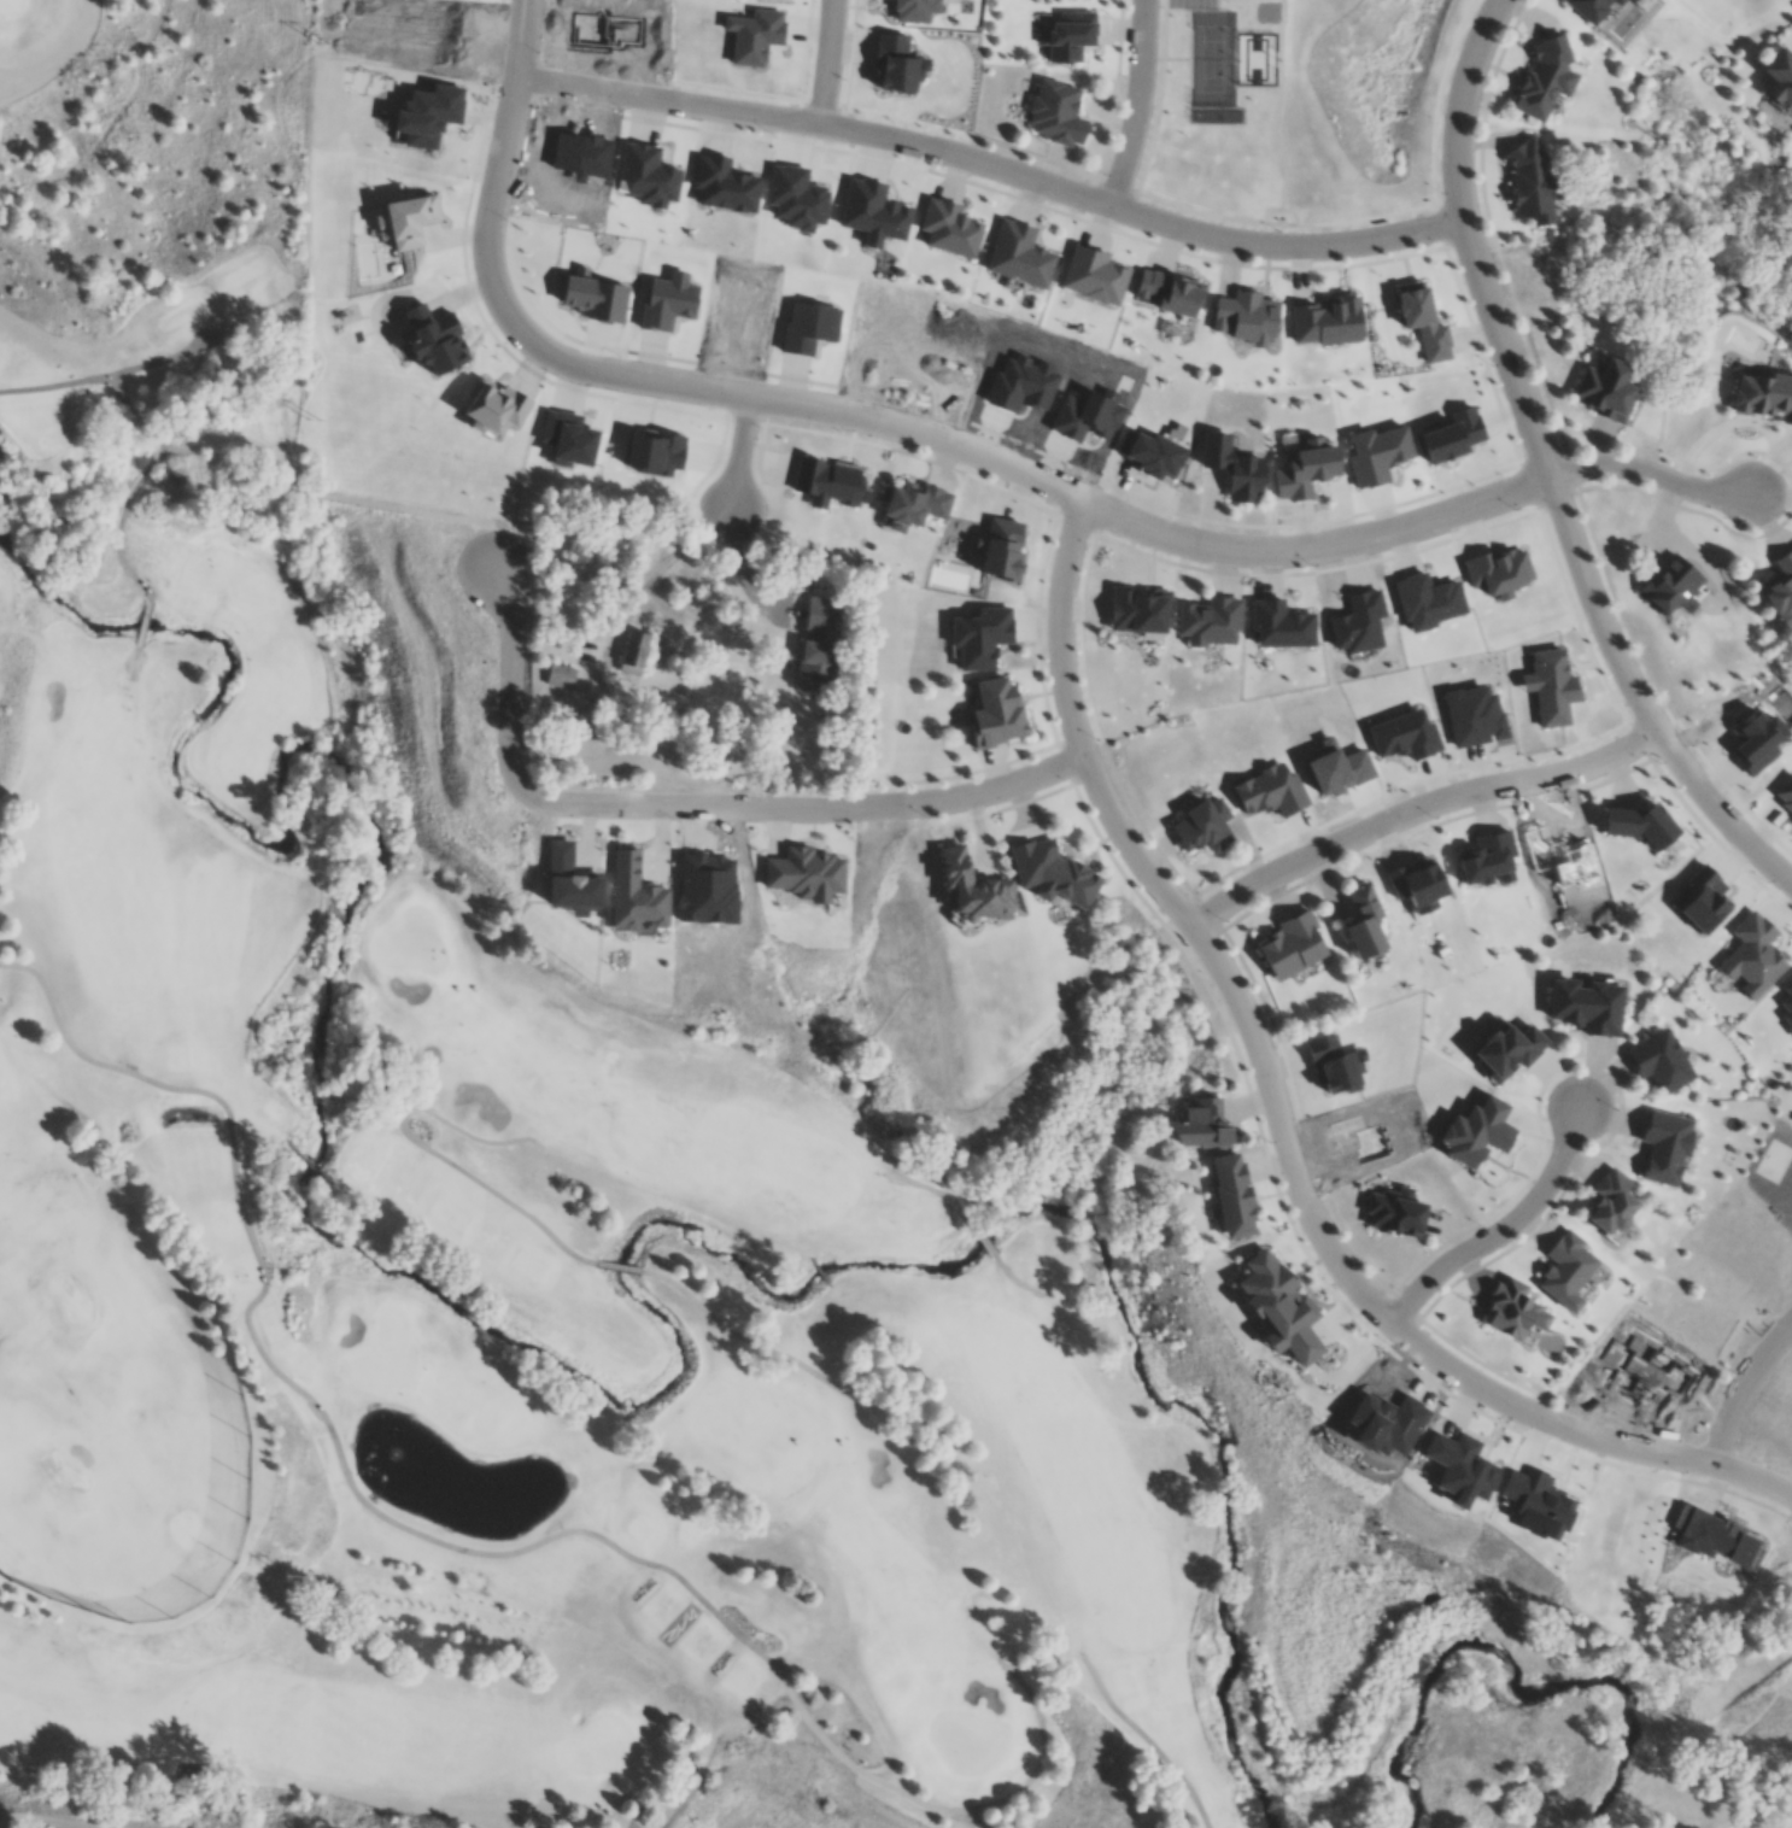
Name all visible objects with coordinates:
building: (1617, 1)
park: (10, 7)
building: (1588, 7)
building: (915, 11)
building: (602, 30)
building: (754, 37)
building: (1067, 37)
building: (437, 43)
power tower: (322, 45)
road: (827, 61)
building: (896, 68)
building: (1544, 74)
road: (1141, 106)
building: (1056, 115)
building: (426, 118)
building: (581, 157)
road: (990, 169)
building: (646, 178)
building: (1532, 178)
building: (726, 187)
building: (796, 200)
building: (873, 209)
building: (408, 215)
building: (949, 224)
building: (1019, 251)
building: (1094, 273)
building: (1170, 287)
building: (597, 294)
building: (668, 298)
building: (742, 309)
building: (1246, 314)
building: (1329, 317)
building: (1424, 318)
building: (807, 324)
building: (434, 336)
building: (1019, 381)
building: (1604, 386)
building: (1763, 392)
building: (494, 403)
building: (1087, 412)
power tower: (314, 421)
road: (877, 426)
building: (1452, 433)
building: (568, 434)
building: (656, 449)
building: (1155, 449)
building: (1378, 452)
road: (740, 463)
building: (1234, 463)
road: (1546, 465)
building: (1306, 468)
road: (1653, 473)
building: (827, 480)
building: (912, 500)
building: (1001, 546)
building: (1498, 569)
park: (227, 579)
building: (1669, 584)
building: (1780, 586)
building: (1428, 598)
building: (1138, 609)
building: (1211, 619)
building: (1359, 620)
building: (816, 622)
building: (1282, 622)
building: (980, 634)
building: (808, 667)
building: (551, 684)
building: (1551, 684)
building: (996, 710)
building: (1475, 713)
building: (1406, 734)
building: (1756, 739)
building: (1337, 766)
building: (1271, 790)
building: (1785, 792)
road: (1416, 808)
road: (687, 813)
building: (1639, 822)
building: (1204, 825)
power tower: (305, 834)
building: (1487, 856)
building: (1562, 856)
building: (803, 872)
building: (1053, 872)
building: (572, 880)
building: (1417, 884)
building: (973, 886)
building: (708, 887)
building: (637, 891)
building: (1700, 898)
building: (1365, 921)
park: (409, 943)
building: (1293, 943)
building: (1752, 954)
building: (1787, 1003)
building: (1586, 1004)
building: (1505, 1049)
building: (1657, 1061)
building: (1336, 1064)
road: (1277, 1120)
building: (1204, 1123)
building: (1475, 1132)
building: (1359, 1137)
building: (1664, 1144)
park: (462, 1189)
building: (1234, 1195)
building: (1610, 1202)
building: (1396, 1212)
road: (1503, 1228)
power tower: (298, 1231)
building: (1756, 1252)
building: (1565, 1270)
park: (70, 1296)
building: (1281, 1308)
building: (1511, 1311)
park: (380, 1354)
building: (1644, 1369)
road: (1744, 1400)
building: (1382, 1424)
building: (1786, 1425)
building: (1457, 1467)
park: (63, 1477)
building: (1536, 1505)
building: (1714, 1539)
power tower: (292, 1578)
park: (966, 1744)
park: (608, 1752)
road: (62, 1821)

